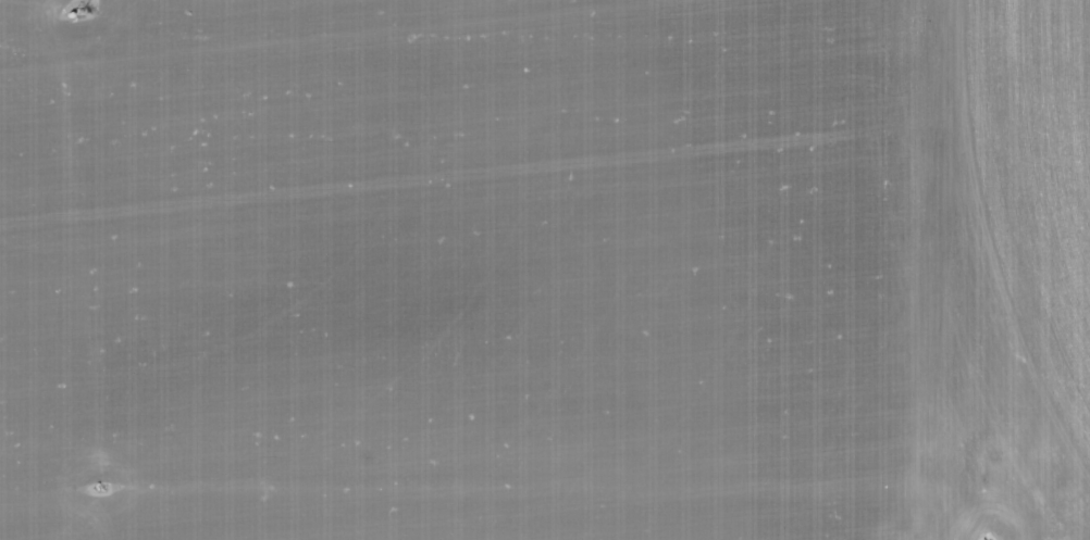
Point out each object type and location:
road: (994, 269)
road: (582, 493)

